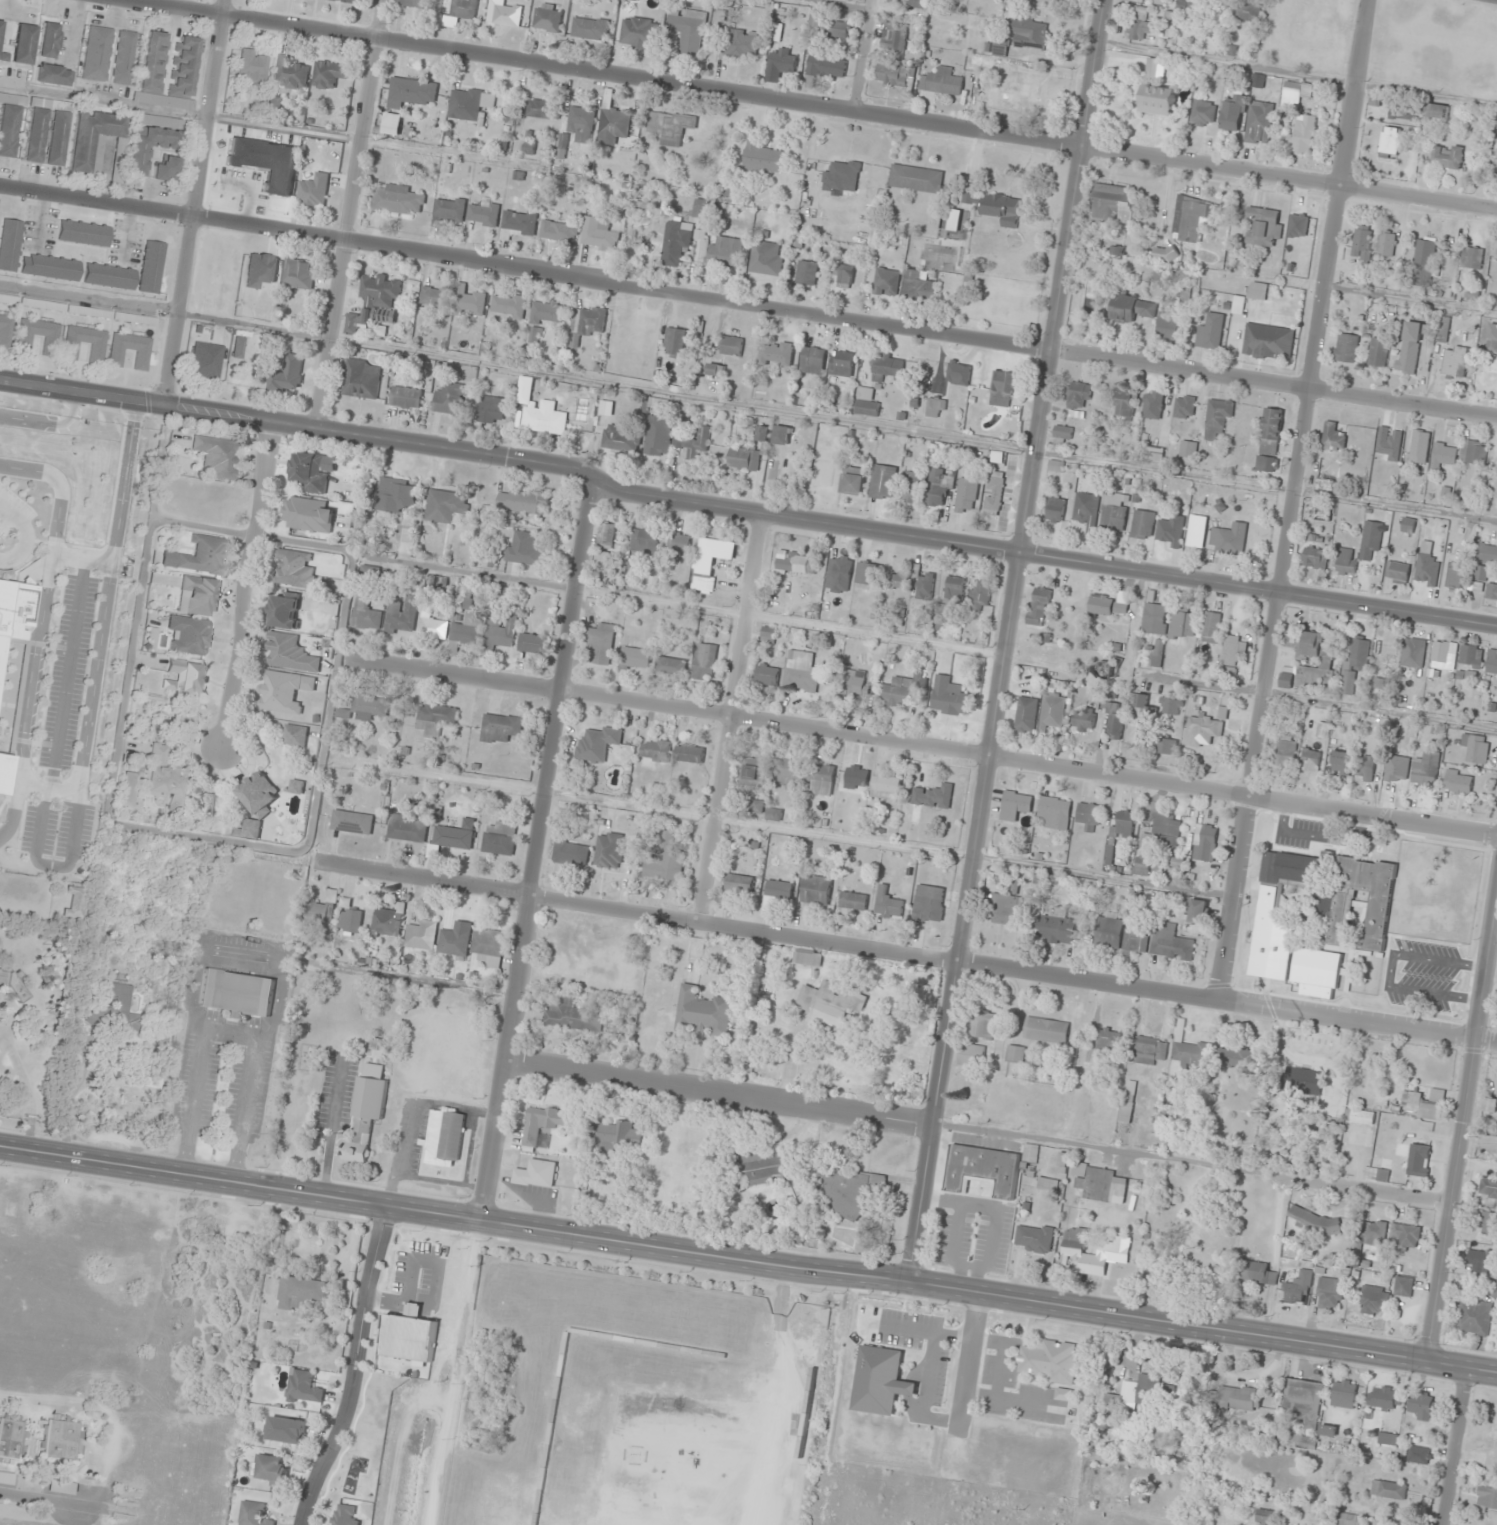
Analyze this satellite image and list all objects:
building: (333, 0)
building: (1061, 0)
building: (352, 1)
building: (910, 2)
building: (411, 3)
building: (1189, 4)
building: (463, 8)
building: (1248, 11)
building: (507, 14)
building: (547, 18)
building: (1139, 24)
building: (0, 26)
building: (829, 27)
building: (589, 28)
building: (688, 28)
building: (639, 32)
building: (1030, 33)
building: (894, 37)
building: (738, 44)
building: (23, 45)
building: (97, 54)
road: (859, 57)
building: (125, 58)
building: (783, 60)
building: (253, 66)
building: (826, 67)
building: (1155, 68)
building: (168, 71)
building: (289, 73)
building: (328, 74)
building: (52, 75)
building: (895, 75)
building: (1257, 80)
building: (941, 81)
building: (413, 92)
building: (1295, 93)
building: (1023, 95)
building: (1157, 100)
building: (274, 103)
building: (470, 103)
building: (541, 109)
road: (812, 109)
building: (1436, 111)
building: (1202, 112)
building: (1230, 116)
building: (578, 120)
building: (612, 121)
building: (1259, 122)
building: (392, 124)
building: (668, 126)
building: (7, 130)
building: (1303, 133)
building: (34, 136)
building: (56, 139)
building: (153, 139)
building: (1390, 141)
building: (96, 143)
building: (1447, 156)
building: (760, 157)
building: (165, 169)
building: (842, 176)
building: (915, 179)
building: (313, 190)
building: (399, 200)
road: (194, 202)
building: (1112, 204)
building: (995, 206)
building: (701, 208)
building: (448, 211)
building: (483, 213)
road: (350, 214)
building: (1190, 218)
building: (519, 221)
building: (1263, 227)
building: (559, 231)
building: (84, 233)
building: (598, 233)
building: (1362, 242)
building: (675, 243)
building: (1386, 244)
building: (10, 245)
building: (725, 252)
building: (1117, 252)
building: (1424, 252)
building: (1164, 254)
building: (766, 258)
building: (1473, 258)
building: (50, 267)
building: (151, 268)
building: (260, 270)
building: (298, 273)
building: (806, 273)
building: (843, 274)
building: (109, 276)
building: (886, 282)
building: (918, 285)
building: (1090, 287)
building: (1257, 291)
building: (451, 299)
road: (748, 301)
building: (375, 304)
building: (507, 305)
building: (1131, 308)
building: (90, 312)
building: (548, 313)
building: (145, 320)
building: (591, 322)
building: (1168, 326)
building: (5, 331)
building: (1209, 332)
building: (39, 336)
building: (1492, 338)
building: (674, 342)
building: (1268, 342)
building: (731, 345)
building: (1408, 347)
building: (238, 348)
building: (1346, 348)
building: (130, 350)
building: (97, 352)
building: (1377, 352)
building: (775, 354)
building: (812, 360)
building: (207, 361)
building: (1455, 361)
building: (841, 364)
building: (887, 367)
building: (715, 369)
building: (958, 373)
building: (287, 374)
building: (361, 379)
building: (1001, 389)
building: (1078, 395)
building: (405, 397)
building: (450, 398)
building: (866, 403)
building: (1124, 405)
building: (1152, 405)
building: (936, 406)
building: (1184, 407)
building: (490, 410)
building: (539, 411)
building: (1217, 417)
building: (1062, 432)
building: (762, 434)
building: (781, 435)
building: (657, 436)
building: (1334, 436)
building: (620, 439)
building: (1269, 440)
building: (693, 442)
building: (1389, 443)
building: (1419, 447)
building: (1188, 449)
building: (1473, 452)
building: (1443, 455)
building: (217, 456)
building: (743, 459)
building: (1056, 466)
building: (308, 472)
building: (852, 481)
building: (882, 482)
building: (1326, 484)
building: (914, 487)
building: (938, 487)
building: (1177, 490)
building: (993, 494)
building: (394, 495)
building: (966, 495)
road: (1295, 500)
building: (523, 501)
building: (444, 506)
road: (745, 510)
building: (1055, 510)
building: (1086, 510)
building: (1113, 511)
building: (1322, 511)
building: (306, 515)
building: (1142, 524)
building: (1408, 525)
building: (1167, 528)
building: (1196, 531)
building: (606, 535)
building: (1228, 538)
building: (1370, 539)
building: (643, 540)
building: (679, 543)
building: (524, 549)
building: (1487, 554)
building: (198, 556)
building: (602, 558)
building: (1314, 558)
building: (709, 561)
building: (1346, 561)
building: (795, 563)
building: (1427, 568)
building: (294, 569)
building: (630, 570)
building: (839, 572)
building: (1397, 572)
building: (866, 573)
building: (1455, 575)
building: (1479, 579)
building: (897, 583)
road: (247, 584)
building: (953, 588)
building: (1491, 590)
building: (979, 595)
building: (198, 596)
building: (1106, 605)
building: (1038, 606)
building: (284, 611)
building: (15, 615)
building: (365, 615)
building: (401, 616)
building: (1155, 618)
building: (1183, 623)
building: (432, 624)
building: (1210, 627)
building: (468, 629)
building: (768, 633)
building: (501, 634)
building: (190, 635)
road: (1008, 641)
building: (533, 643)
building: (600, 643)
building: (1313, 644)
building: (1232, 651)
building: (289, 653)
building: (1385, 653)
building: (1413, 653)
building: (1471, 655)
building: (1442, 656)
building: (1156, 658)
building: (634, 659)
building: (704, 661)
building: (1354, 661)
building: (1492, 662)
building: (670, 666)
building: (1102, 669)
building: (800, 671)
building: (766, 674)
building: (188, 675)
building: (1307, 678)
building: (851, 684)
building: (279, 692)
building: (898, 692)
building: (949, 697)
building: (368, 706)
building: (1171, 706)
building: (1144, 707)
building: (1052, 711)
building: (1026, 714)
road: (726, 715)
building: (1083, 719)
building: (435, 720)
building: (1113, 720)
building: (500, 727)
building: (1203, 730)
building: (1323, 730)
building: (294, 735)
building: (597, 744)
road: (923, 744)
building: (1166, 746)
building: (1475, 748)
building: (655, 750)
building: (1285, 751)
building: (690, 752)
building: (1310, 759)
building: (1341, 759)
building: (1364, 768)
building: (1394, 768)
building: (752, 769)
building: (1425, 769)
building: (786, 771)
building: (4, 772)
building: (855, 777)
building: (168, 779)
building: (821, 780)
building: (1458, 782)
building: (296, 786)
building: (885, 786)
building: (128, 790)
building: (932, 796)
building: (1014, 805)
building: (1054, 812)
building: (1088, 814)
building: (351, 822)
building: (1122, 824)
building: (407, 828)
building: (1162, 833)
building: (454, 835)
building: (499, 838)
building: (1204, 842)
road: (535, 846)
building: (609, 850)
building: (570, 852)
building: (665, 857)
building: (1141, 863)
building: (739, 883)
building: (815, 891)
building: (775, 894)
building: (853, 900)
building: (888, 903)
building: (928, 903)
building: (75, 904)
building: (1269, 905)
building: (1005, 910)
building: (315, 911)
building: (1197, 911)
building: (1377, 918)
building: (349, 920)
building: (388, 921)
building: (1056, 928)
building: (1108, 930)
building: (421, 935)
building: (454, 940)
building: (1135, 940)
building: (1170, 945)
building: (488, 946)
road: (910, 953)
building: (808, 958)
building: (1317, 973)
building: (14, 985)
building: (236, 993)
building: (830, 1003)
building: (122, 1013)
building: (702, 1013)
building: (571, 1017)
building: (982, 1024)
building: (1045, 1030)
building: (1108, 1039)
building: (1149, 1050)
building: (1014, 1054)
building: (1192, 1054)
building: (970, 1056)
building: (1236, 1060)
building: (150, 1081)
building: (1300, 1081)
road: (720, 1091)
building: (1411, 1099)
building: (1127, 1101)
building: (1490, 1104)
building: (1359, 1116)
building: (364, 1117)
building: (541, 1123)
road: (1462, 1131)
building: (444, 1137)
building: (612, 1137)
building: (1029, 1158)
building: (1418, 1160)
building: (759, 1167)
building: (982, 1169)
building: (536, 1173)
building: (1376, 1174)
building: (1047, 1184)
building: (1099, 1184)
building: (1488, 1187)
building: (847, 1192)
road: (1385, 1199)
building: (1189, 1216)
building: (1314, 1221)
building: (1488, 1224)
building: (1374, 1232)
building: (1406, 1237)
building: (1033, 1238)
building: (1112, 1248)
road: (748, 1257)
building: (1479, 1261)
building: (1256, 1272)
building: (1296, 1284)
building: (1403, 1286)
building: (301, 1292)
building: (1329, 1293)
building: (1373, 1300)
building: (1474, 1317)
building: (1049, 1360)
road: (356, 1367)
building: (880, 1381)
building: (303, 1386)
building: (1137, 1393)
building: (1343, 1393)
building: (1063, 1394)
building: (1383, 1397)
building: (1241, 1399)
building: (1303, 1401)
building: (1421, 1405)
building: (1493, 1424)
building: (284, 1430)
building: (1327, 1430)
building: (13, 1439)
building: (1387, 1439)
building: (61, 1440)
building: (1298, 1440)
road: (1453, 1445)
building: (1419, 1455)
building: (270, 1469)
building: (6, 1478)
building: (61, 1488)
building: (1388, 1489)
building: (1487, 1497)
road: (42, 1501)
building: (253, 1514)
building: (344, 1516)
building: (1264, 1517)
building: (1348, 1519)

